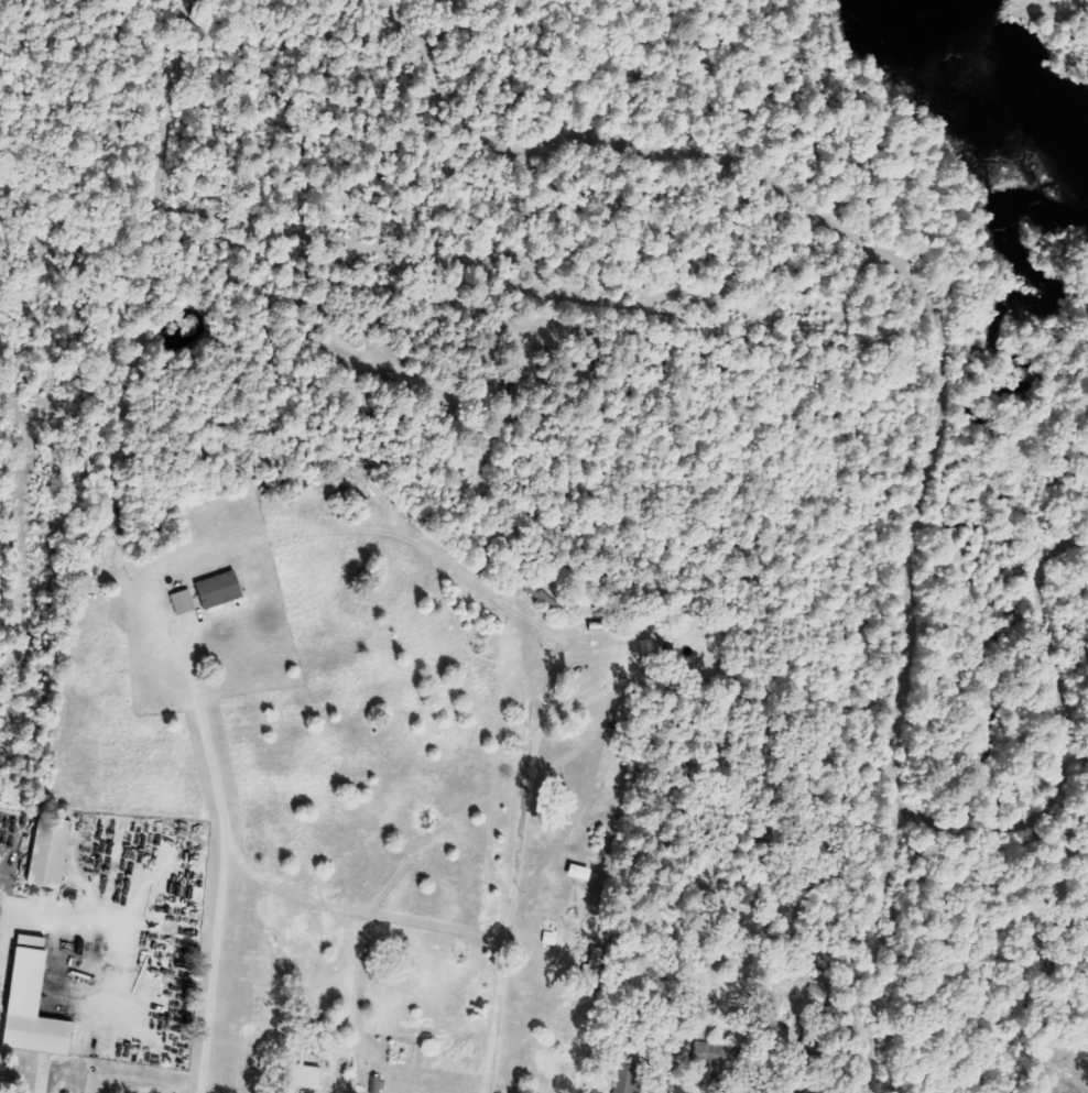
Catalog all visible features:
building: (221, 589)
building: (184, 602)
building: (649, 648)
building: (53, 852)
road: (513, 855)
building: (552, 938)
building: (596, 964)
building: (36, 1003)
building: (716, 1057)
building: (305, 1076)
building: (627, 1078)

